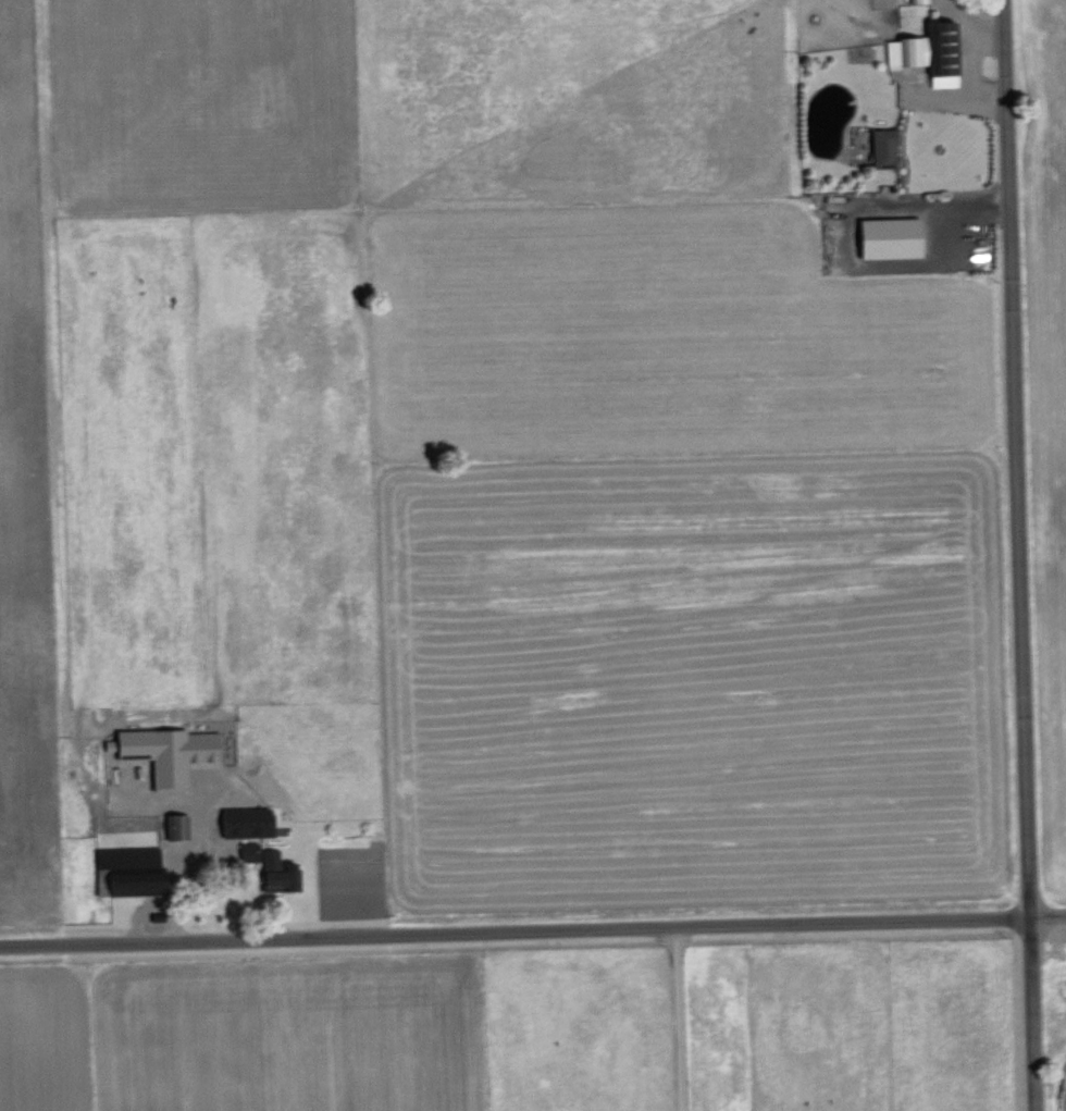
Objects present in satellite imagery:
road: (966, 21)
building: (927, 51)
road: (966, 81)
building: (883, 147)
building: (889, 236)
road: (1019, 555)
building: (168, 752)
building: (247, 820)
building: (175, 826)
building: (129, 869)
building: (278, 872)
road: (533, 929)
road: (666, 1019)

